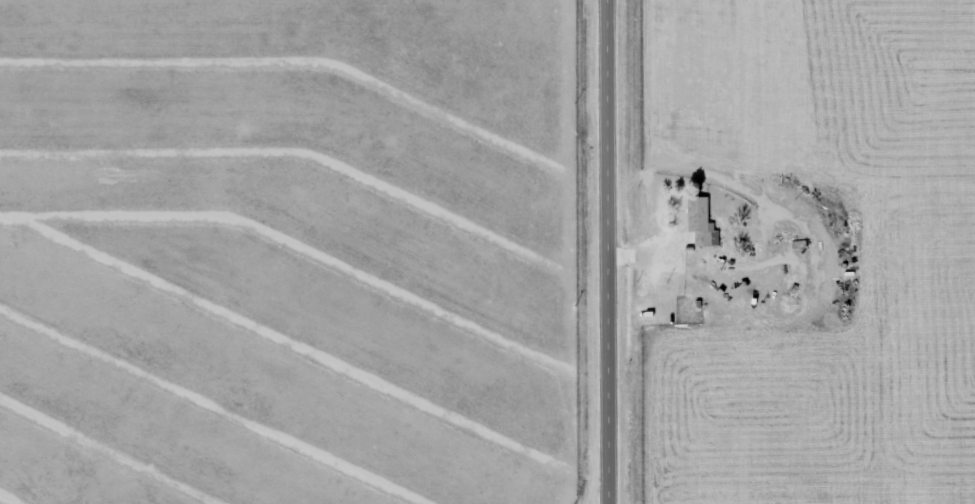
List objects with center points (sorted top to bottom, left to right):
building: (697, 223)
road: (607, 244)
road: (605, 496)
road: (608, 496)

